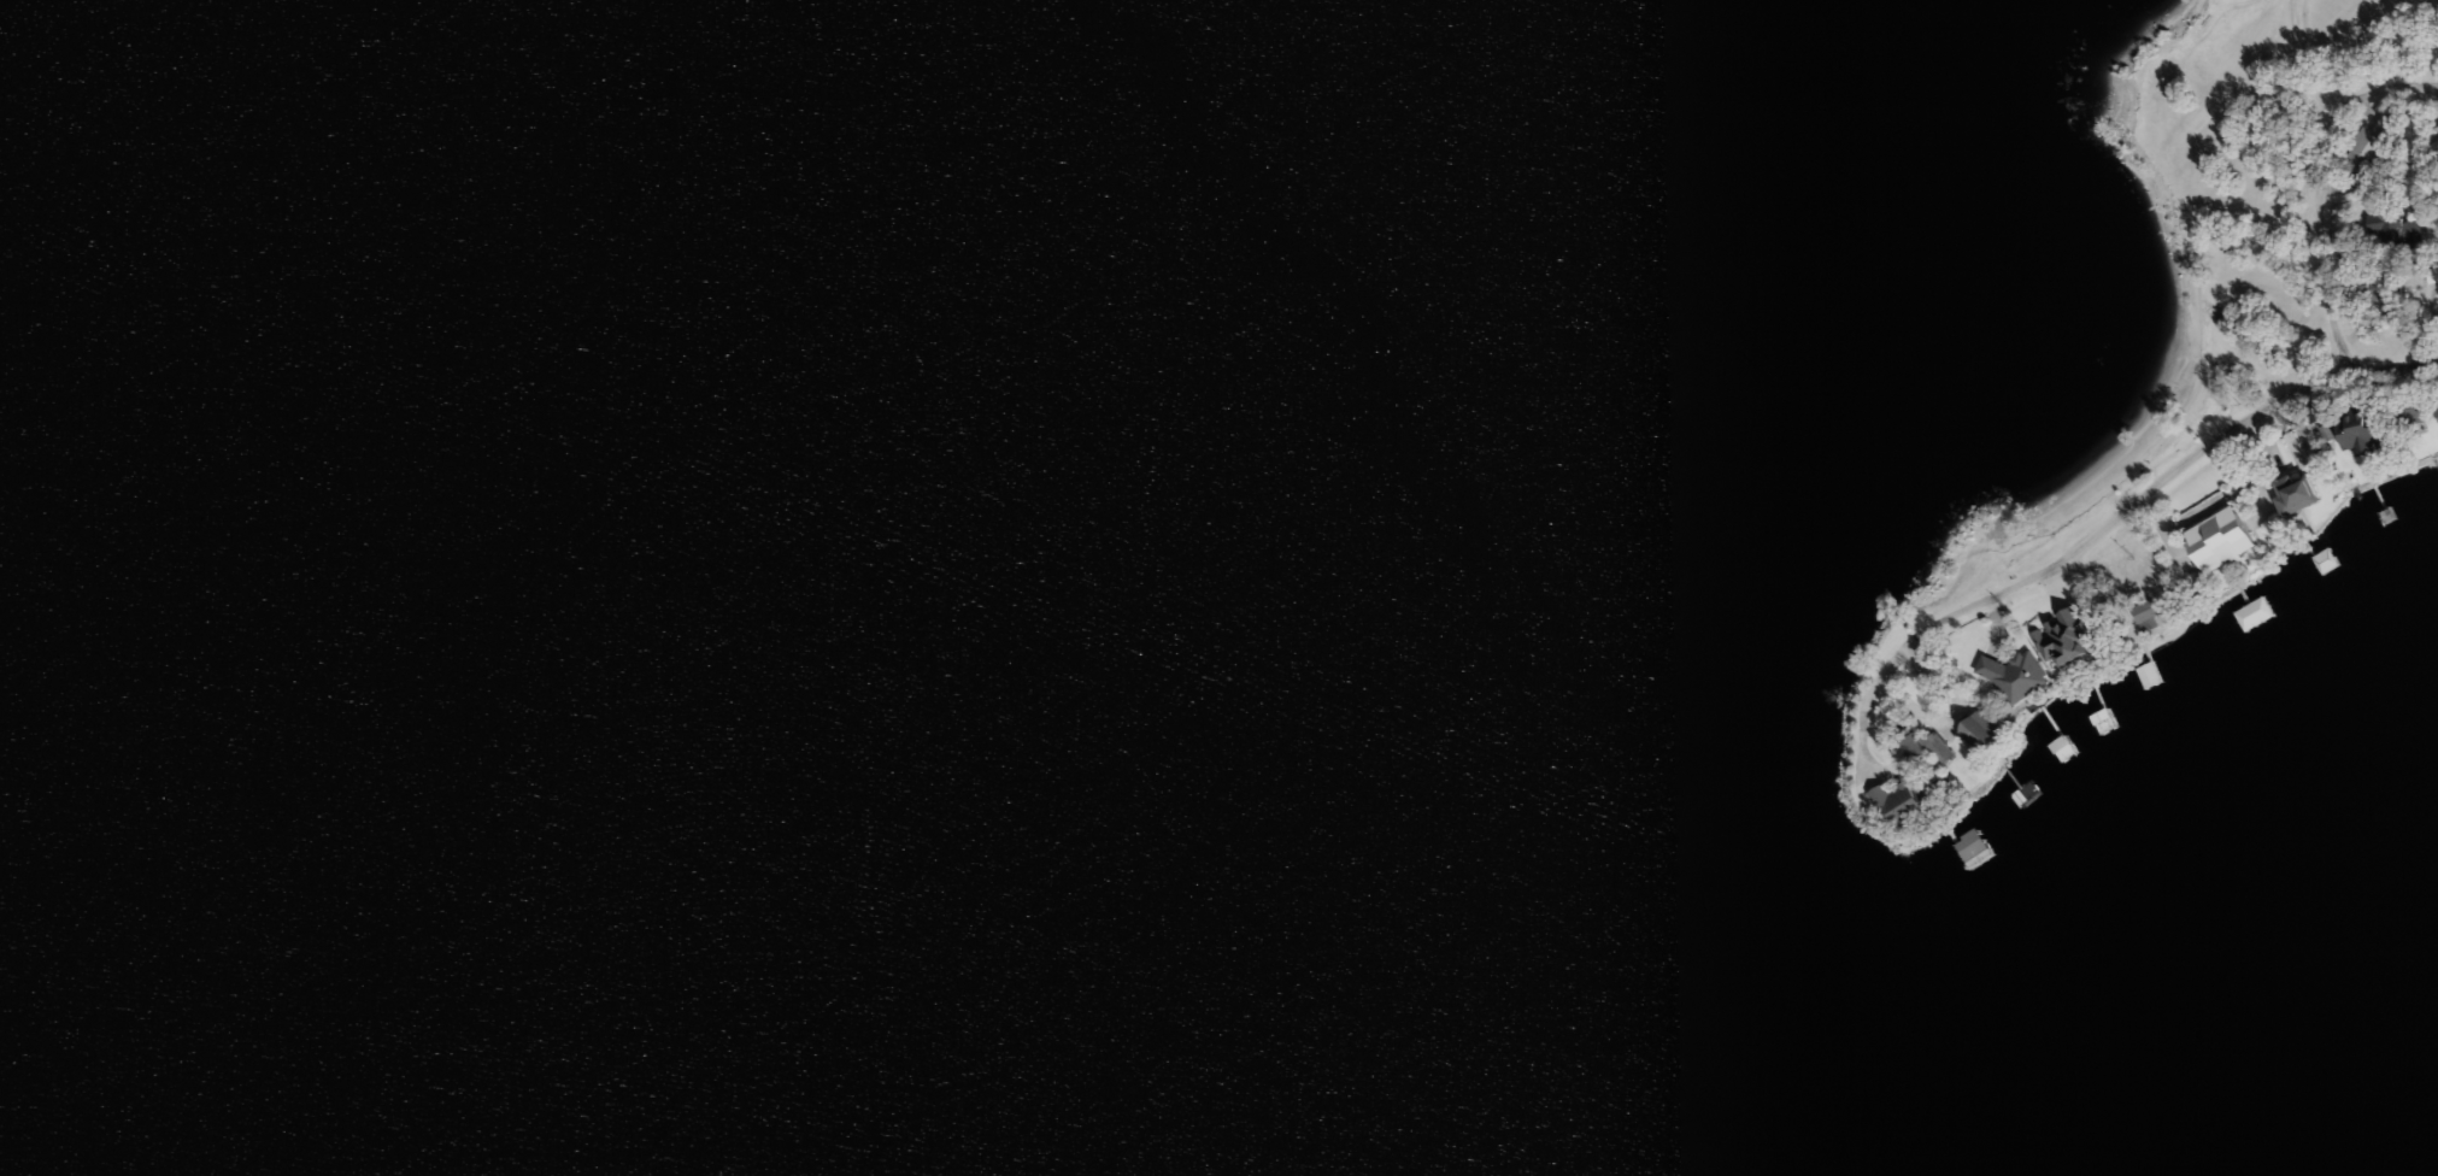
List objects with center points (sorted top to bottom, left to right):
road: (2303, 63)
building: (2373, 141)
road: (2317, 188)
building: (2395, 225)
road: (2391, 365)
building: (2414, 412)
building: (2362, 429)
building: (2299, 446)
road: (2166, 484)
building: (2298, 493)
building: (2227, 539)
building: (2325, 560)
building: (2254, 612)
building: (2149, 615)
building: (2066, 636)
road: (1890, 669)
building: (2148, 674)
building: (2014, 675)
building: (2104, 722)
building: (1981, 729)
building: (1938, 755)
building: (1911, 799)
building: (1974, 845)

